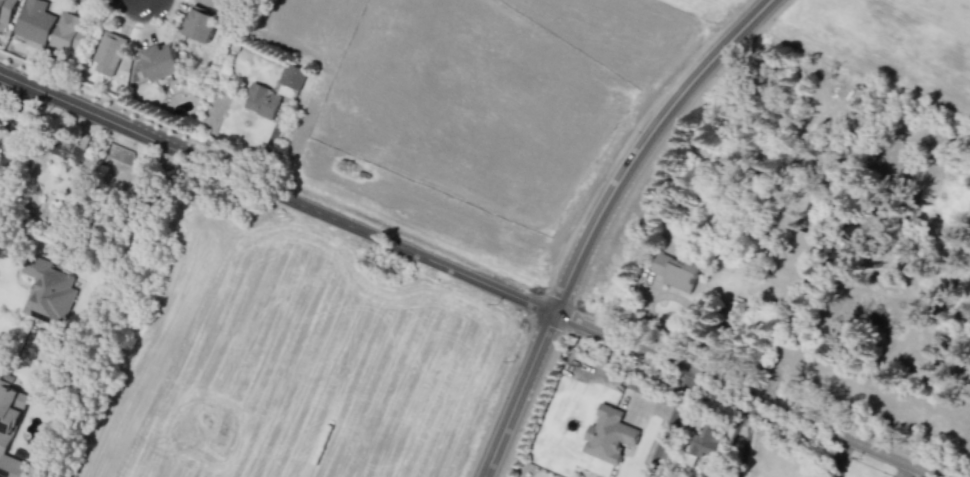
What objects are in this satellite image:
building: (215, 3)
building: (7, 10)
building: (35, 21)
building: (200, 24)
building: (70, 32)
crop: (895, 43)
building: (109, 52)
building: (162, 61)
street lamp: (36, 72)
building: (289, 82)
building: (262, 101)
crop: (475, 105)
street lamp: (139, 115)
road: (16, 129)
road: (276, 192)
road: (595, 218)
building: (675, 271)
building: (48, 292)
road: (747, 393)
road: (672, 424)
building: (10, 428)
building: (608, 435)
building: (703, 445)
building: (715, 474)

